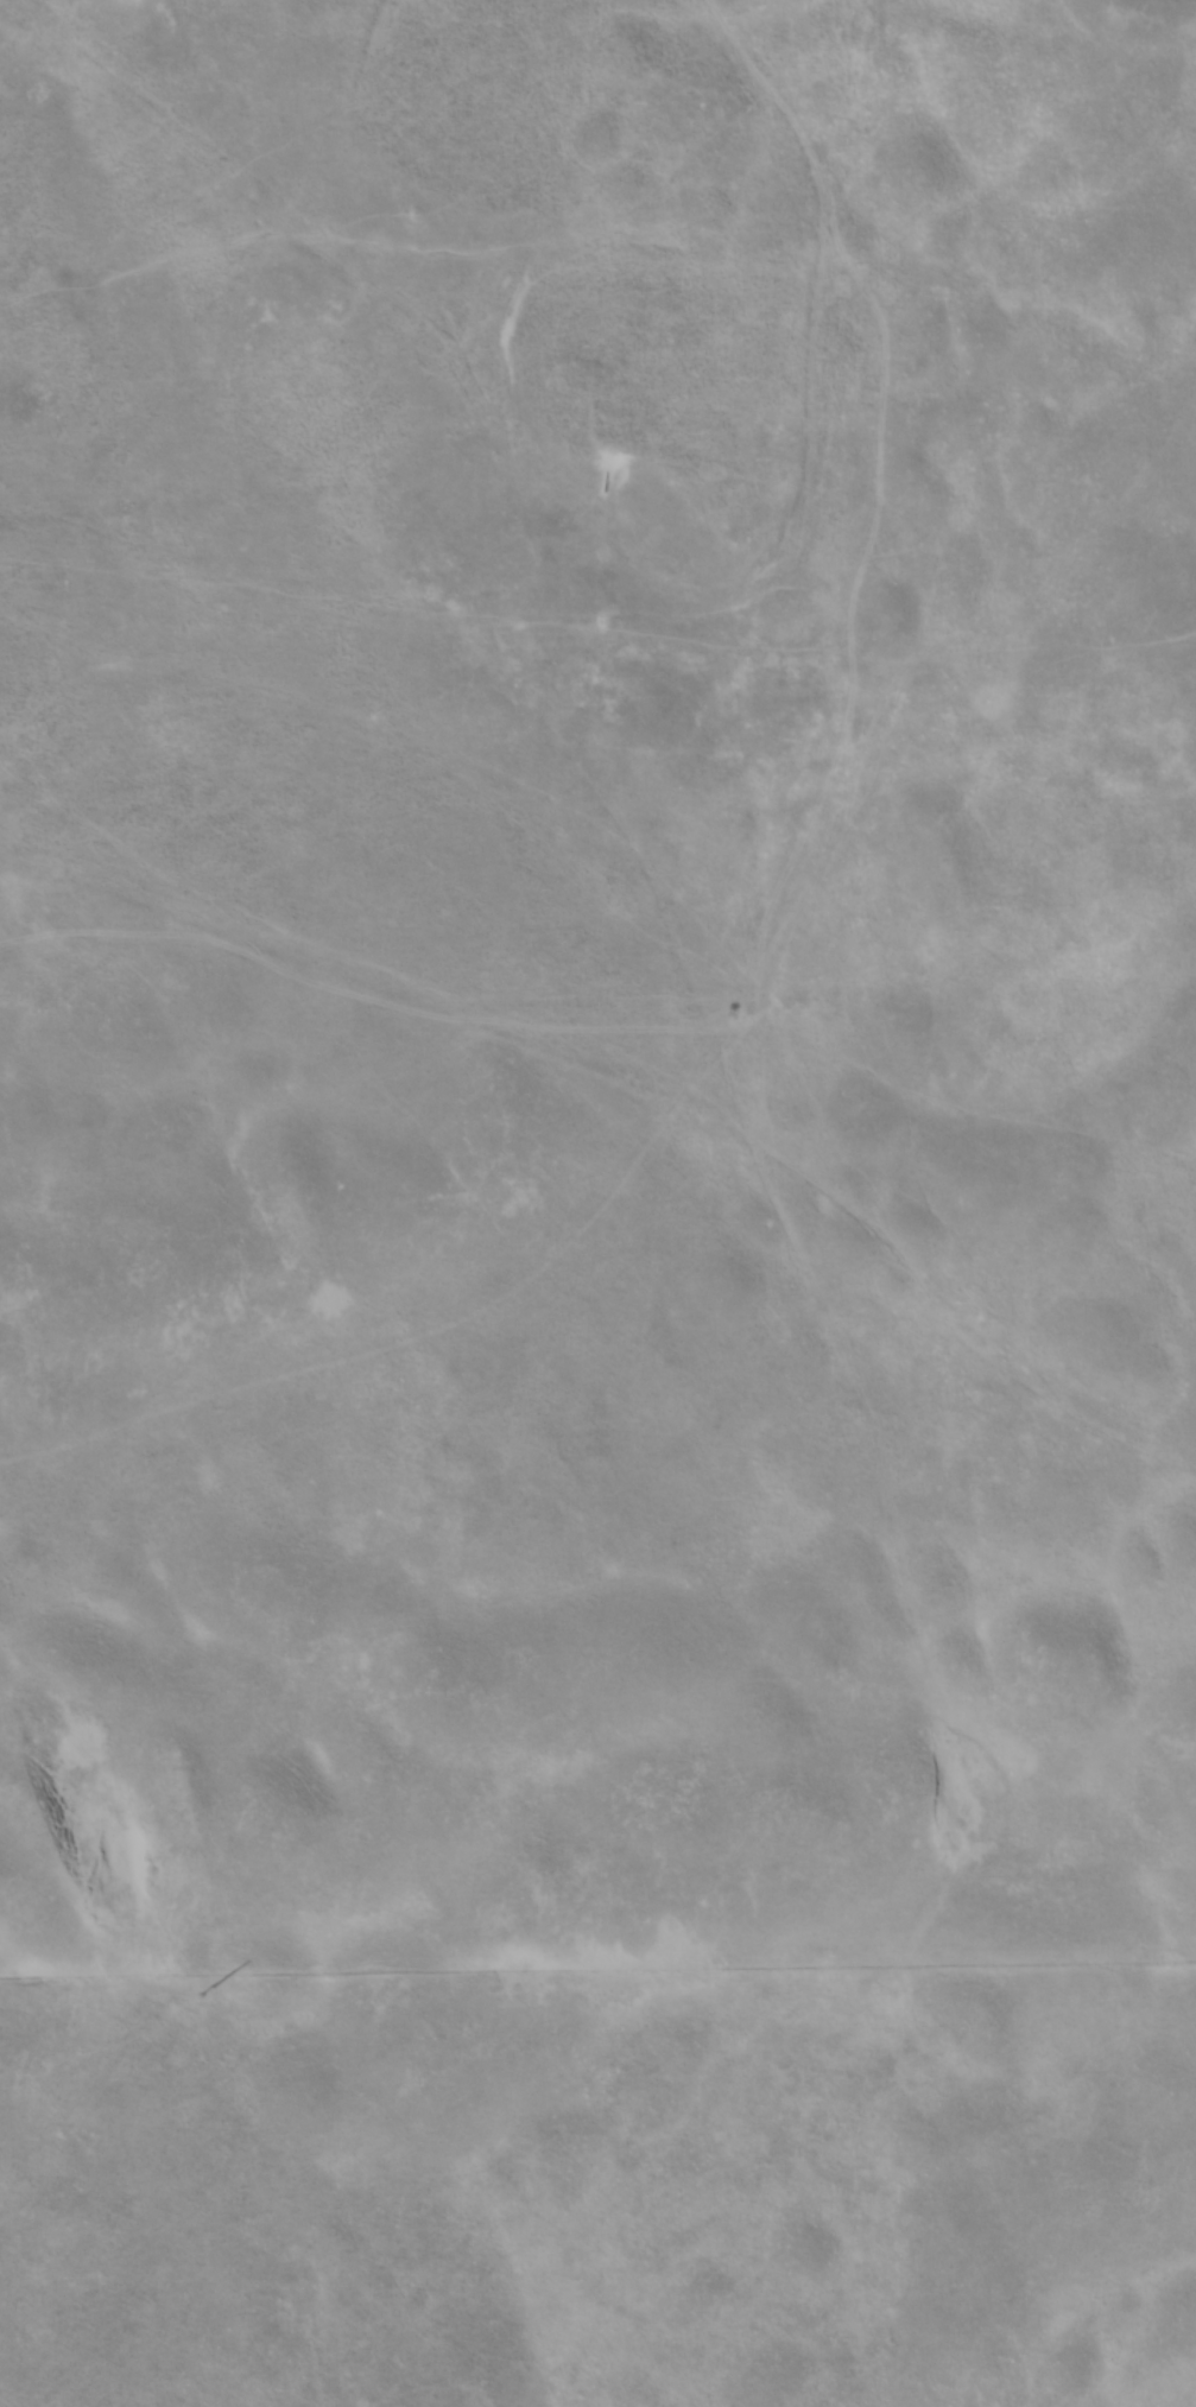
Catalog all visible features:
power tower: (211, 1989)

